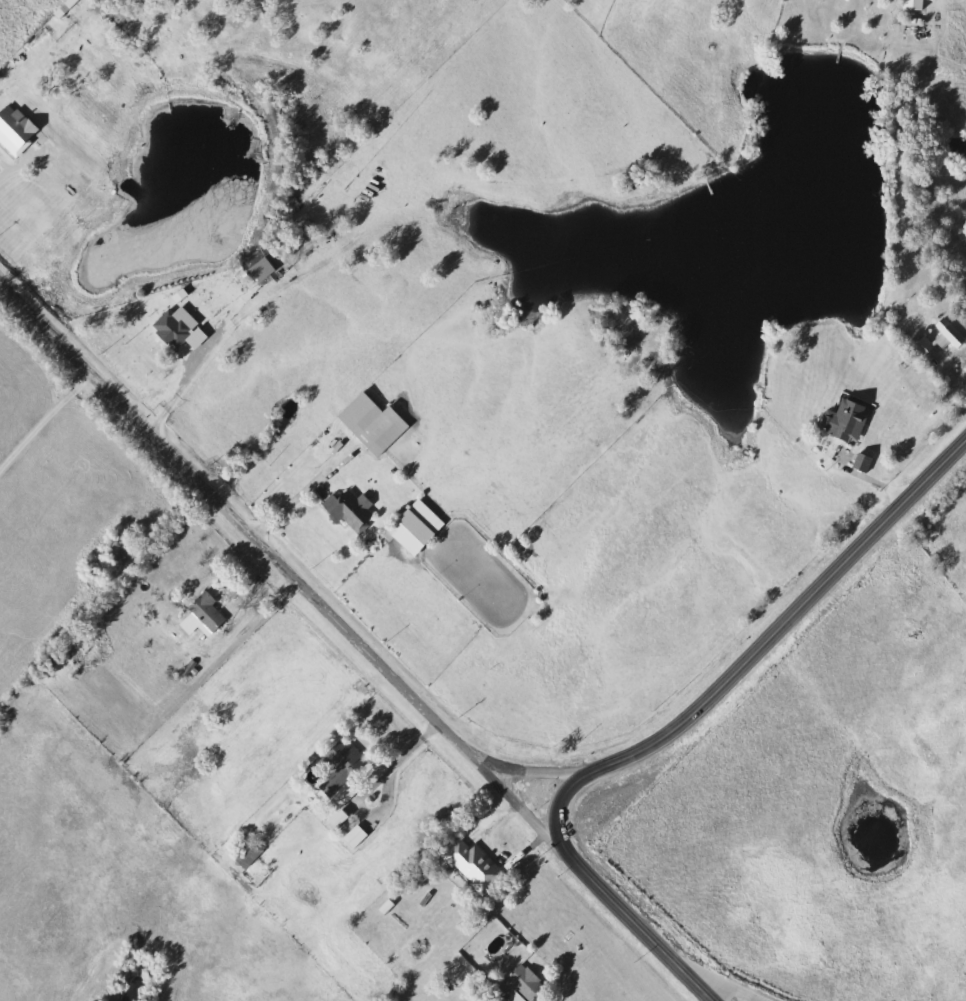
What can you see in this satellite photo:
building: (13, 130)
road: (22, 161)
road: (46, 422)
building: (843, 422)
building: (378, 429)
road: (877, 486)
road: (304, 494)
building: (346, 510)
building: (412, 528)
road: (283, 563)
road: (257, 609)
road: (794, 613)
building: (199, 617)
road: (395, 769)
road: (535, 770)
road: (501, 821)
building: (352, 836)
building: (244, 854)
building: (470, 866)
road: (595, 884)
building: (762, 907)
building: (516, 983)
road: (722, 985)

